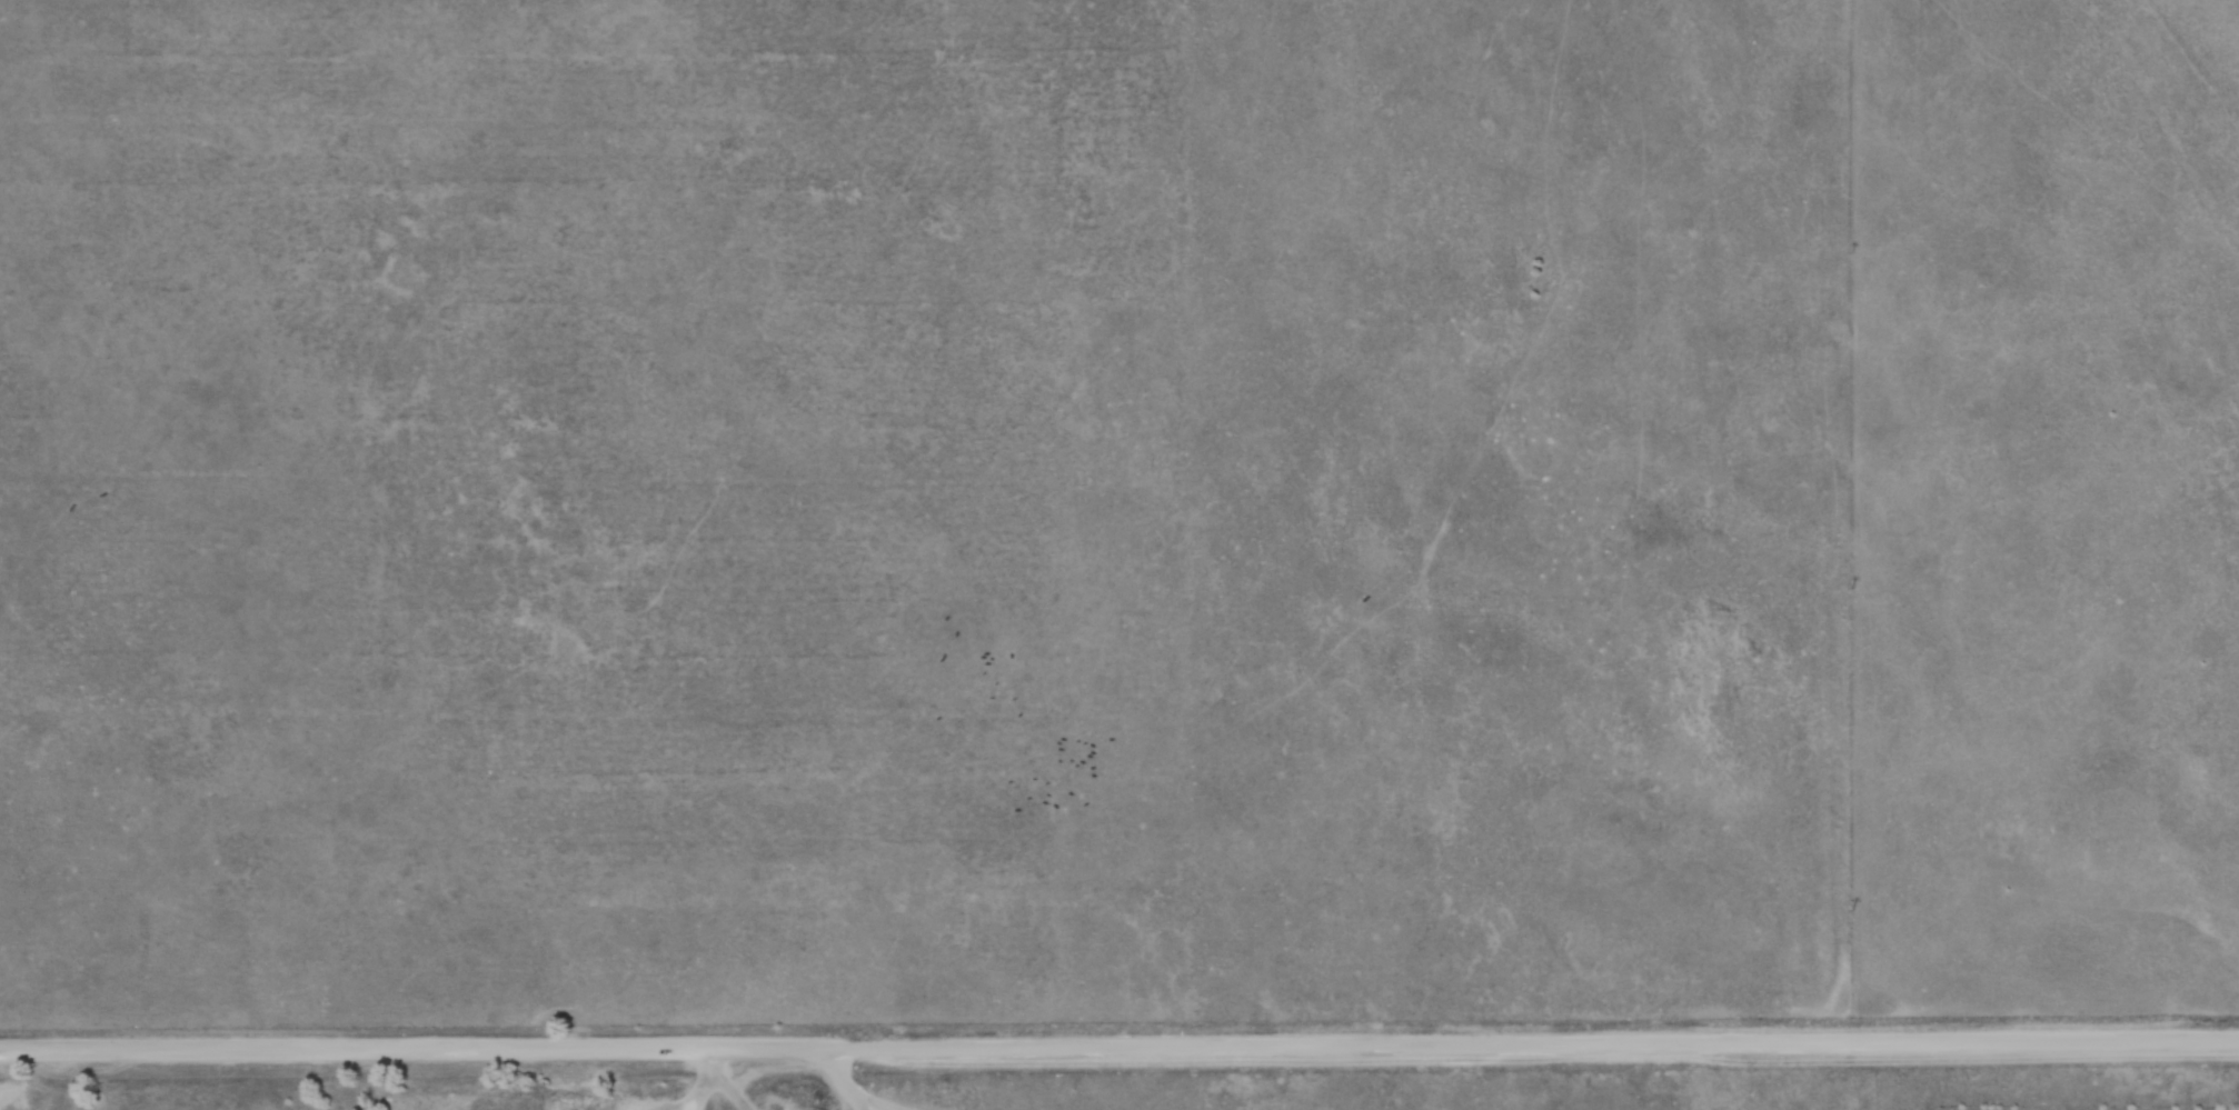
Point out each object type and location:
road: (1118, 1041)

